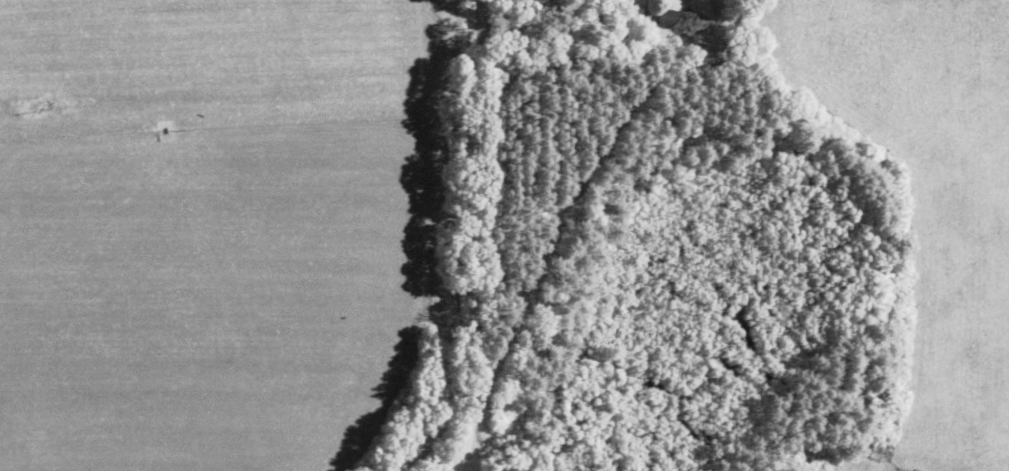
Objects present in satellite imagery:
road: (740, 97)
road: (470, 236)

